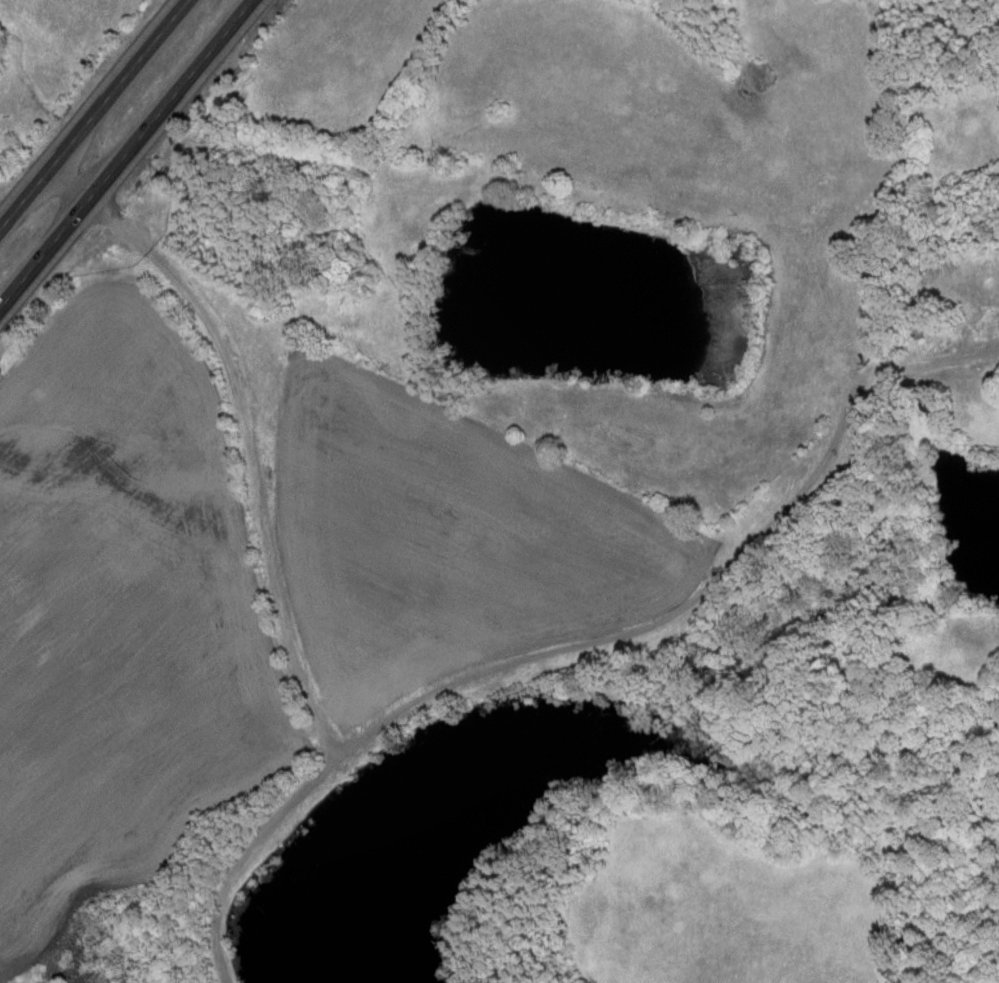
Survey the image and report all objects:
road: (92, 113)
road: (124, 151)
road: (255, 475)
road: (927, 516)
road: (579, 645)

